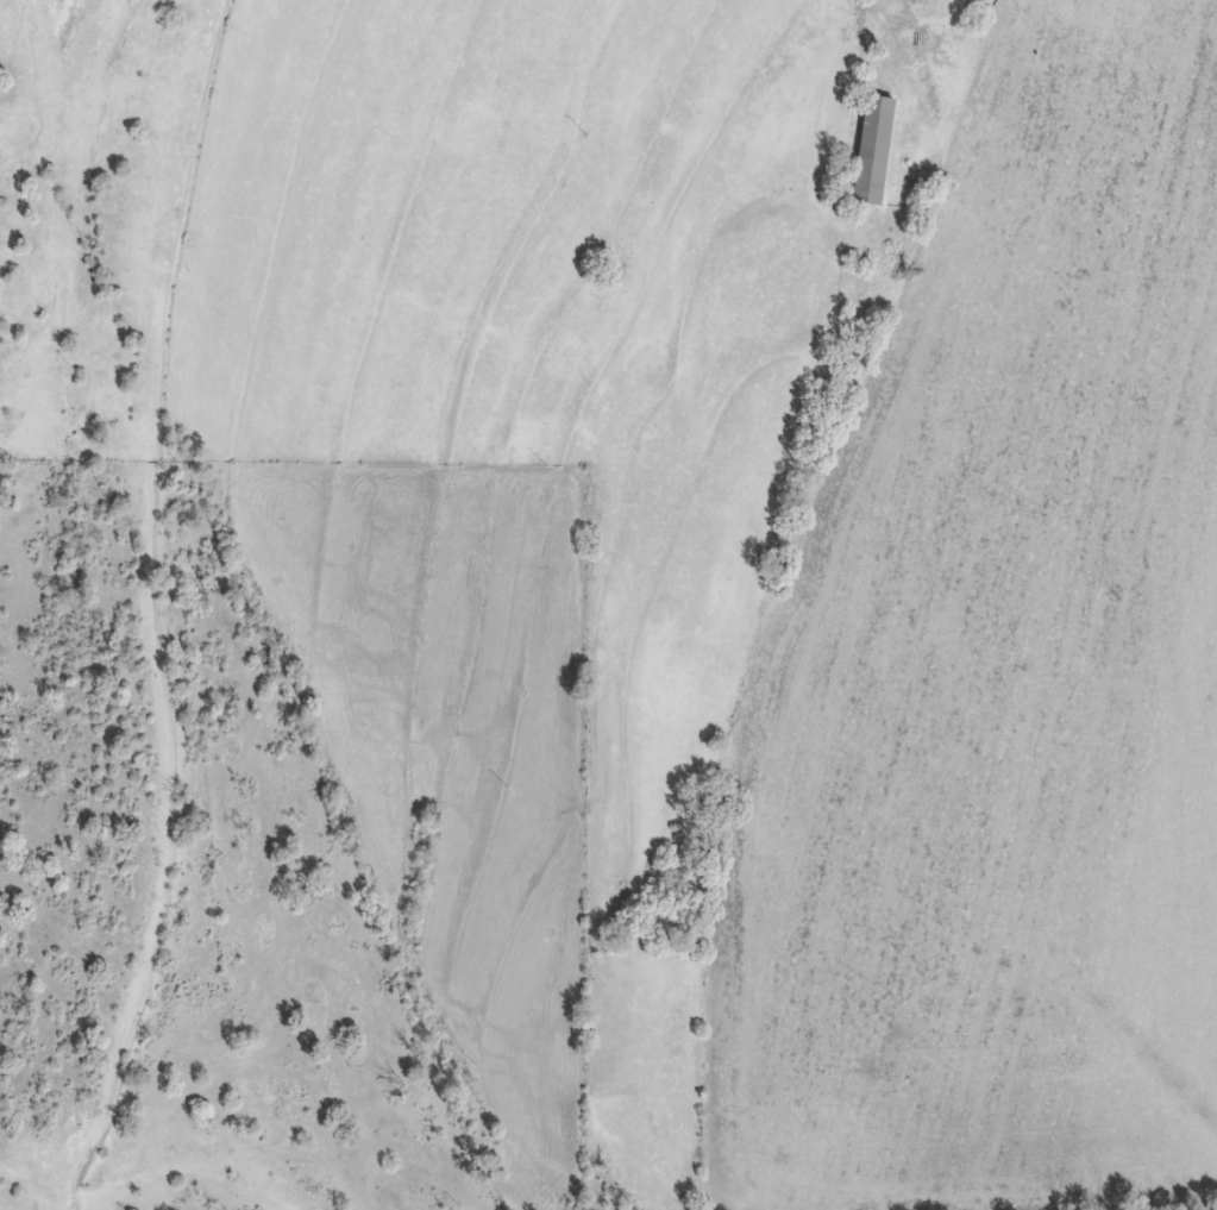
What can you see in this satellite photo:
building: (865, 149)
railway: (542, 603)

